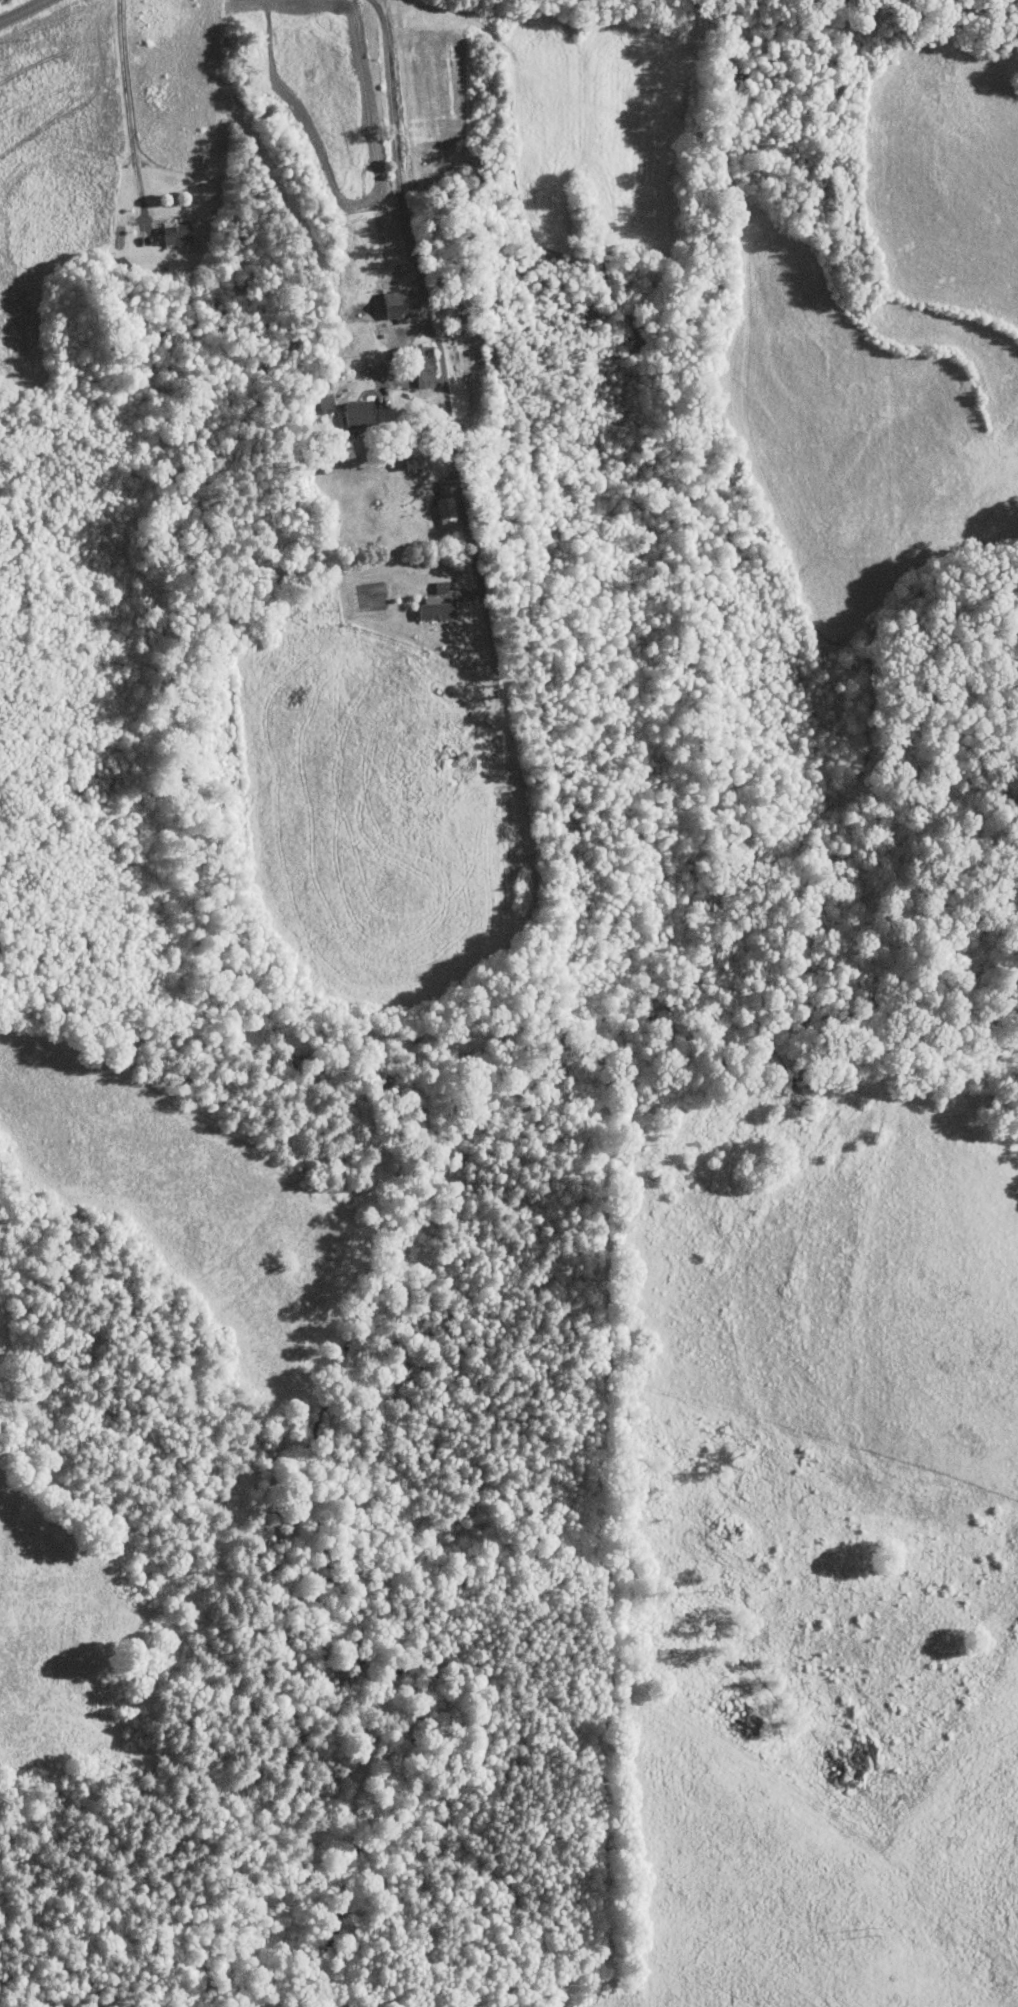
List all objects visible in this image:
road: (23, 9)
road: (126, 112)
building: (174, 232)
road: (422, 295)
building: (395, 301)
road: (392, 351)
building: (421, 357)
building: (421, 378)
building: (355, 412)
building: (443, 508)
building: (433, 608)

